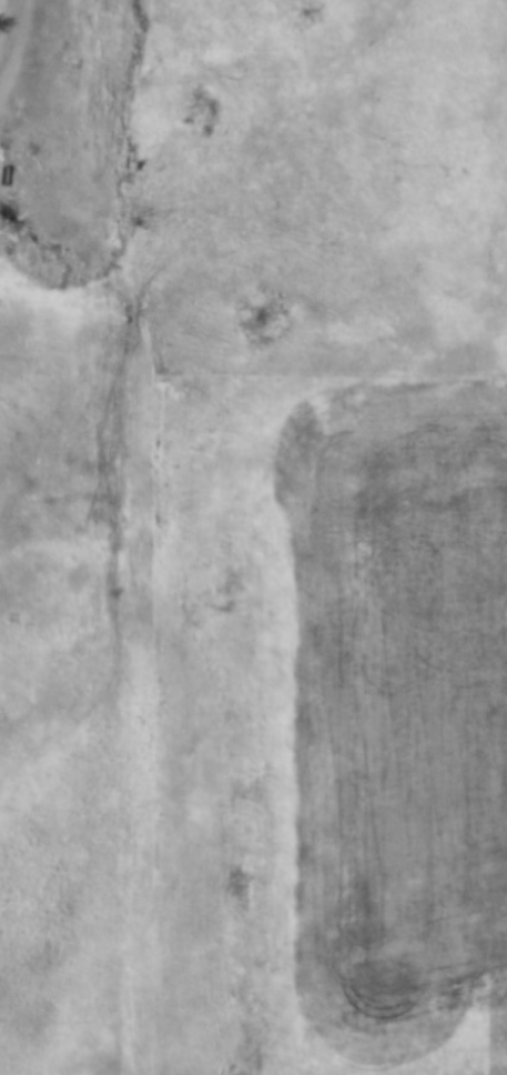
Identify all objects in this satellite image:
road: (22, 43)

